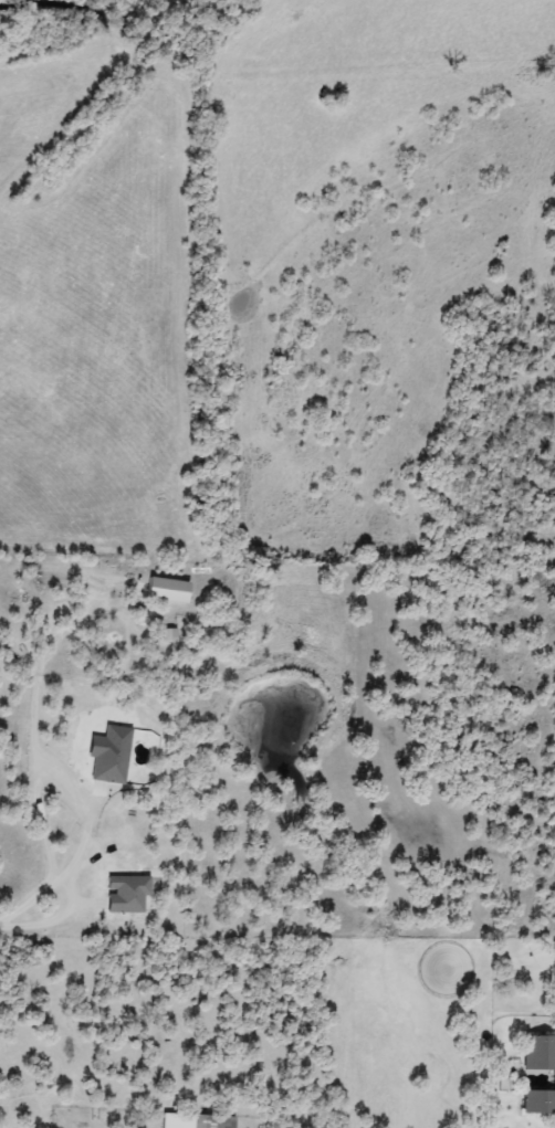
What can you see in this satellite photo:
railway: (96, 104)
building: (165, 590)
building: (107, 755)
building: (125, 894)
building: (538, 1053)
building: (195, 1120)

